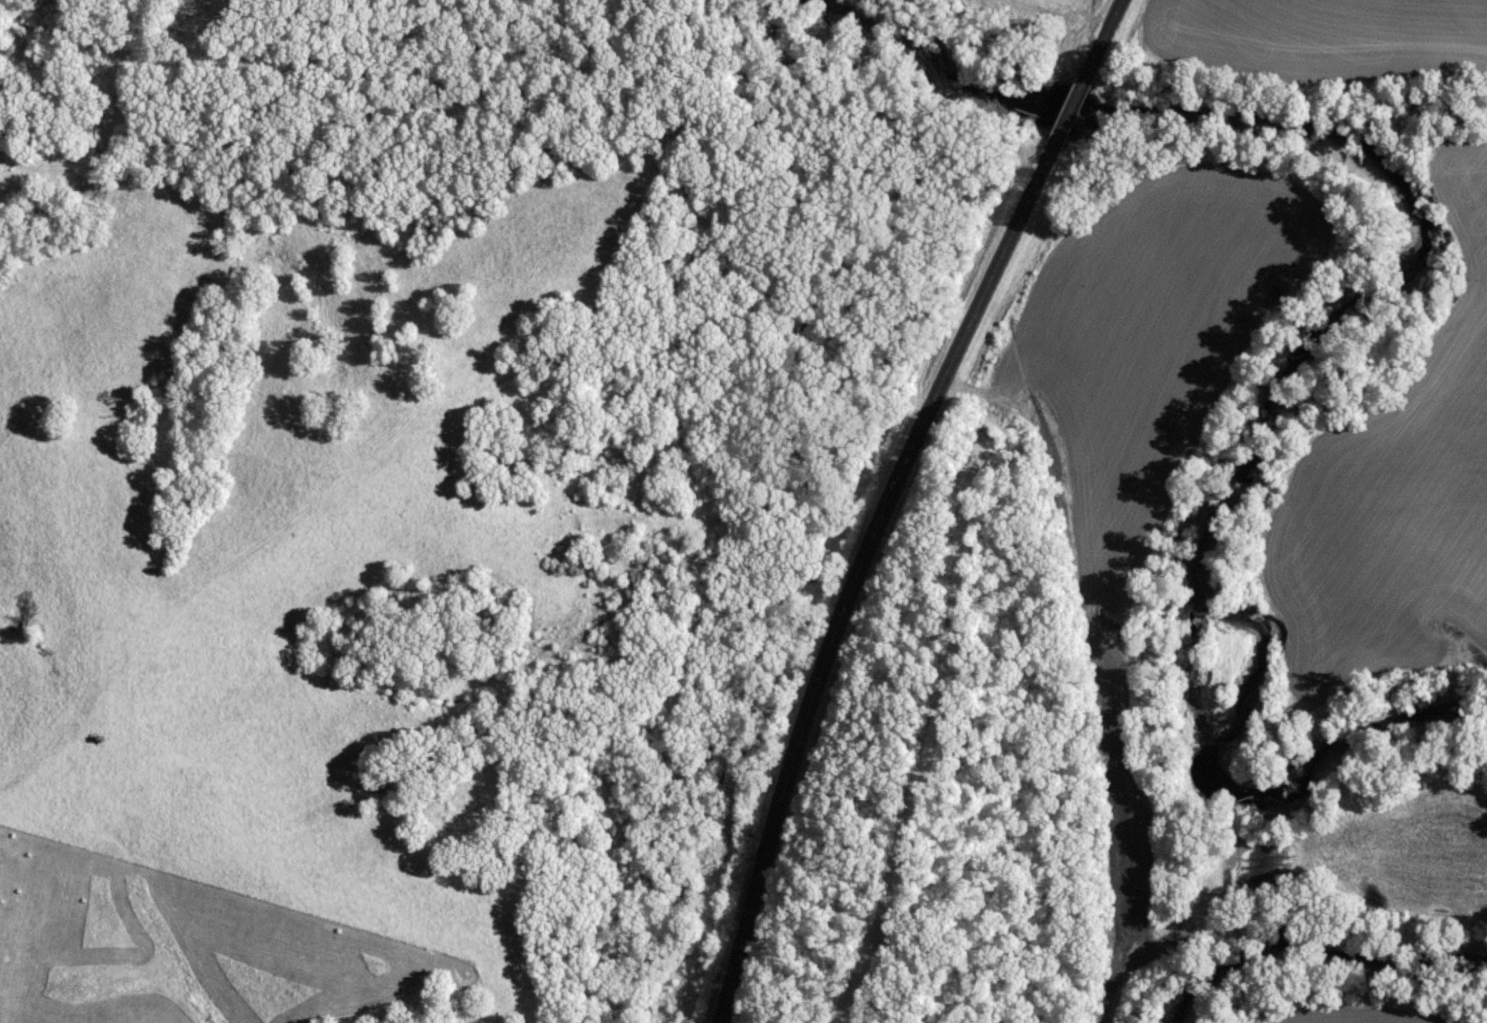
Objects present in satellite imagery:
road: (843, 493)

